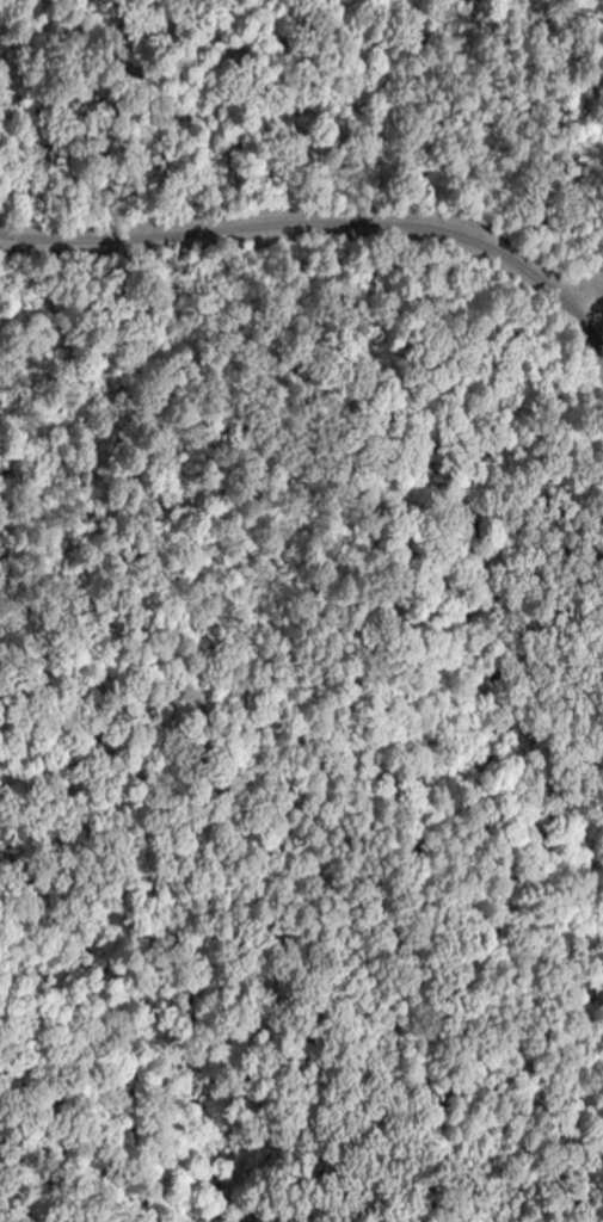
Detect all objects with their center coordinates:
road: (324, 227)

